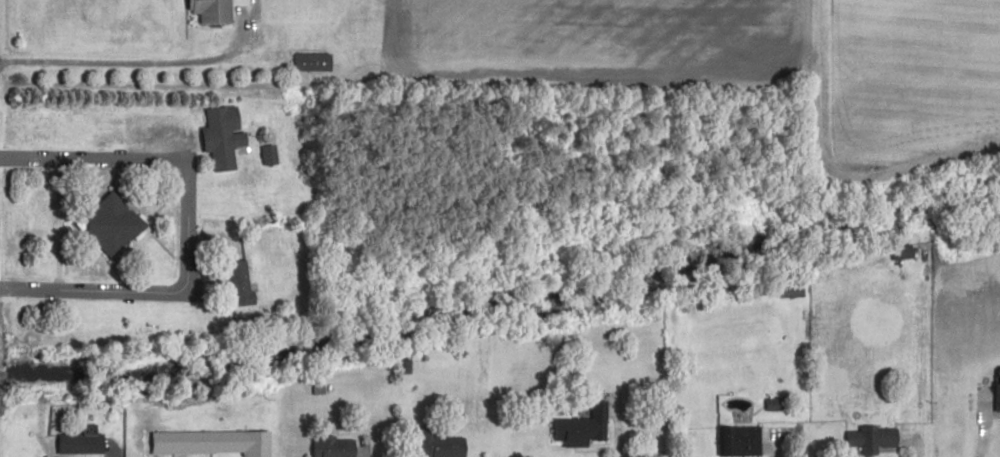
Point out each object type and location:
building: (215, 10)
building: (311, 61)
road: (138, 70)
building: (221, 135)
building: (268, 154)
building: (110, 223)
road: (187, 227)
building: (900, 250)
building: (238, 282)
building: (789, 288)
road: (918, 357)
road: (615, 425)
building: (582, 427)
building: (872, 439)
building: (739, 441)
building: (81, 442)
building: (211, 442)
building: (438, 444)
building: (333, 447)

